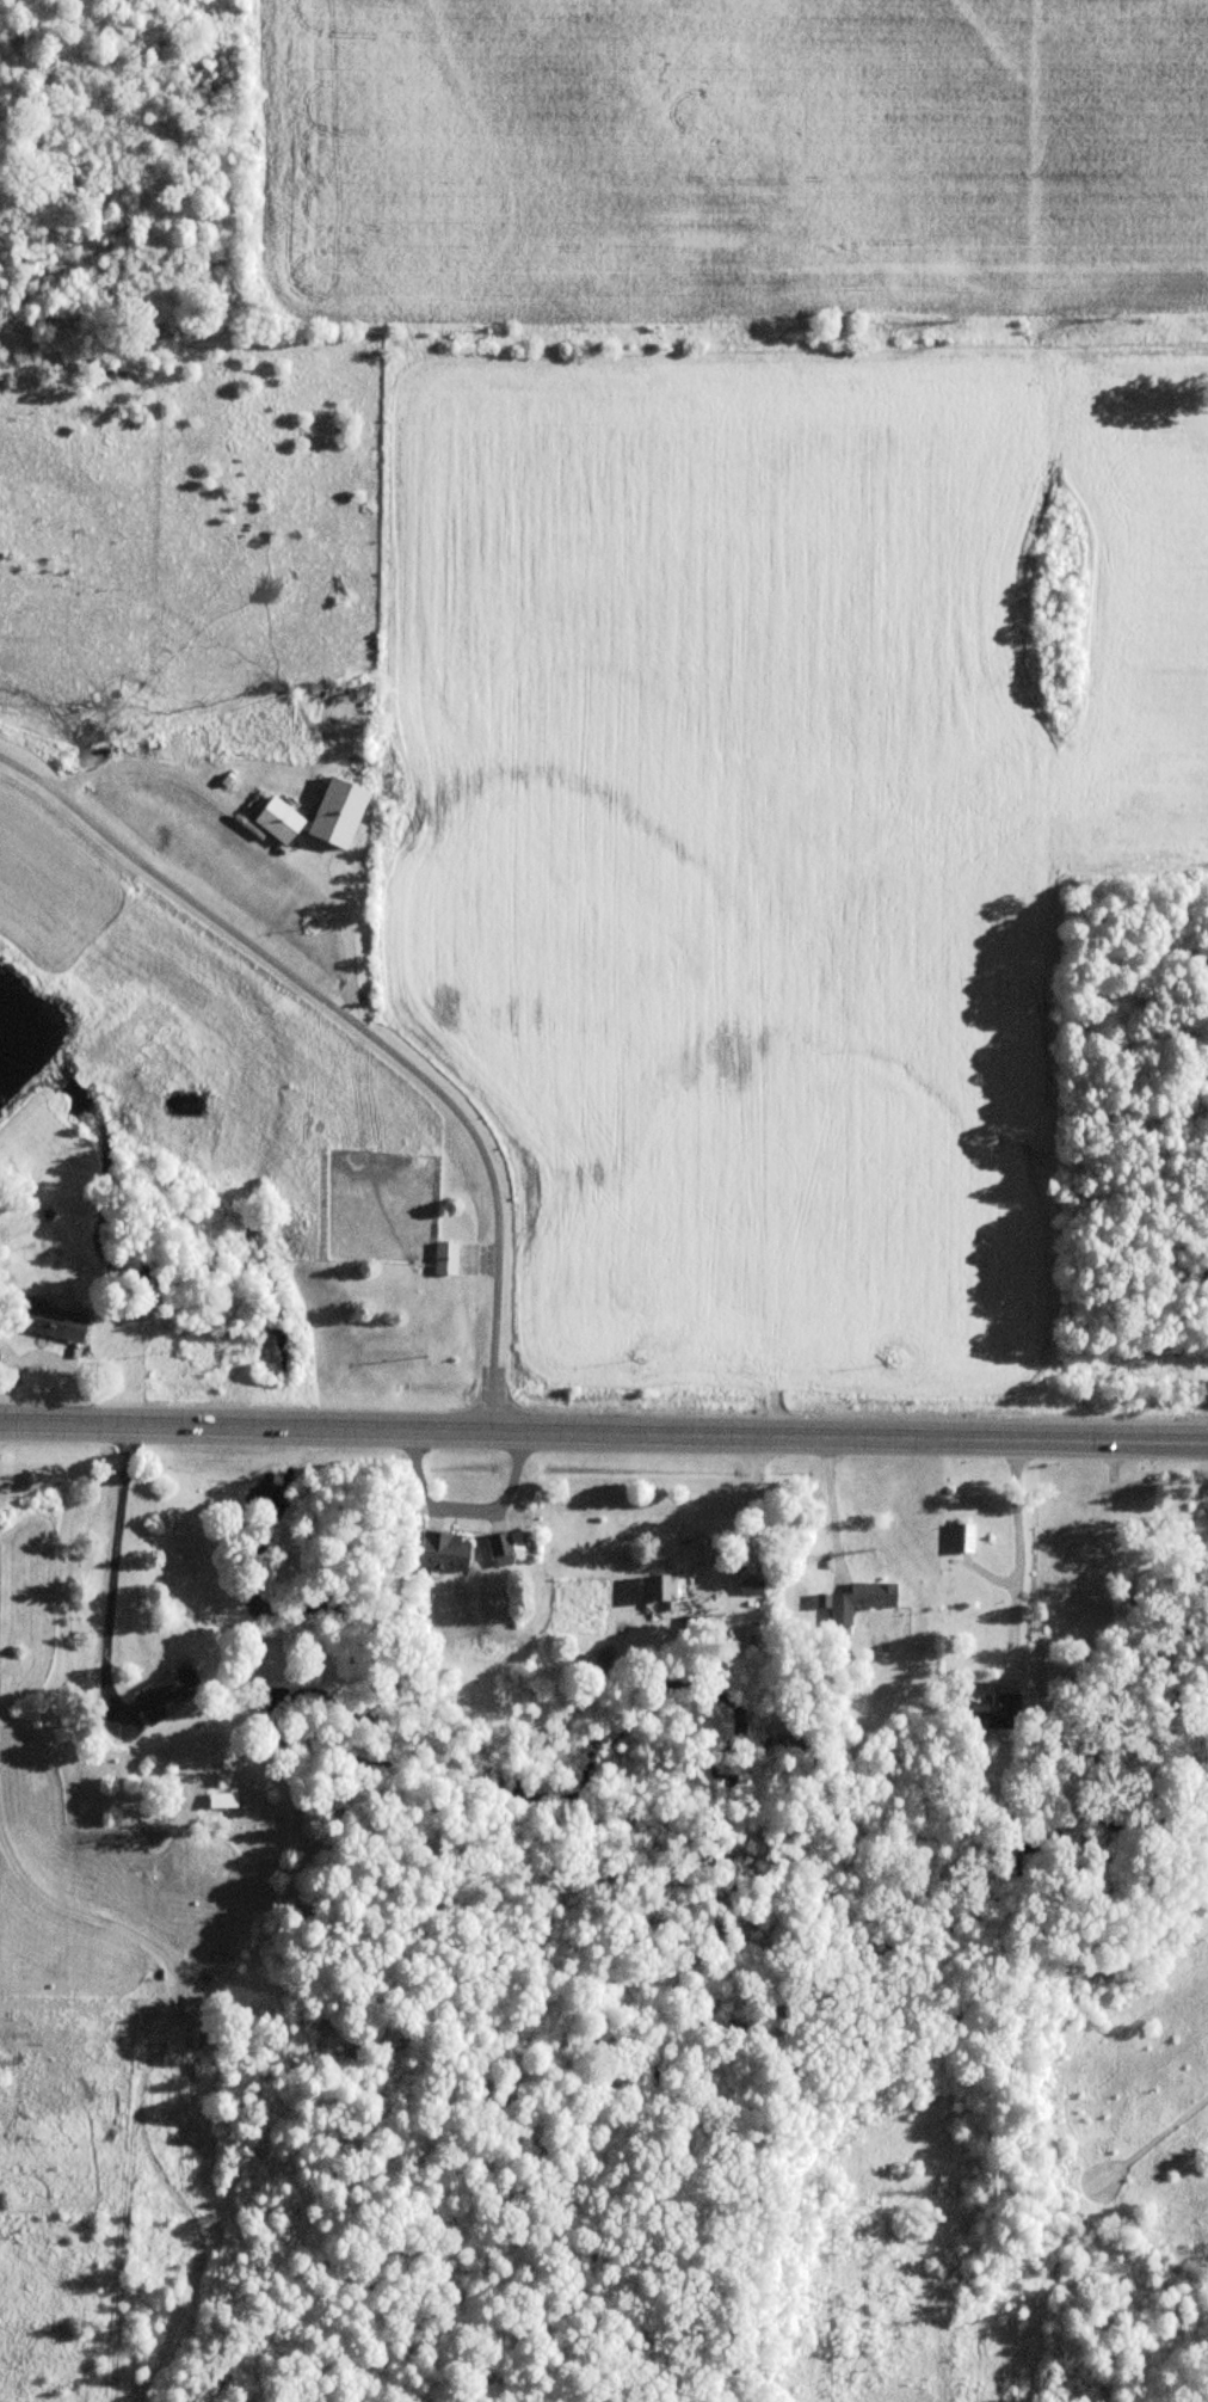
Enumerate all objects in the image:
building: (315, 818)
road: (364, 1031)
building: (443, 1258)
building: (49, 1321)
road: (604, 1435)
road: (830, 1506)
building: (960, 1537)
building: (499, 1550)
building: (442, 1552)
road: (1016, 1556)
building: (657, 1587)
building: (858, 1601)
building: (741, 1635)
building: (162, 1694)
building: (988, 1706)

